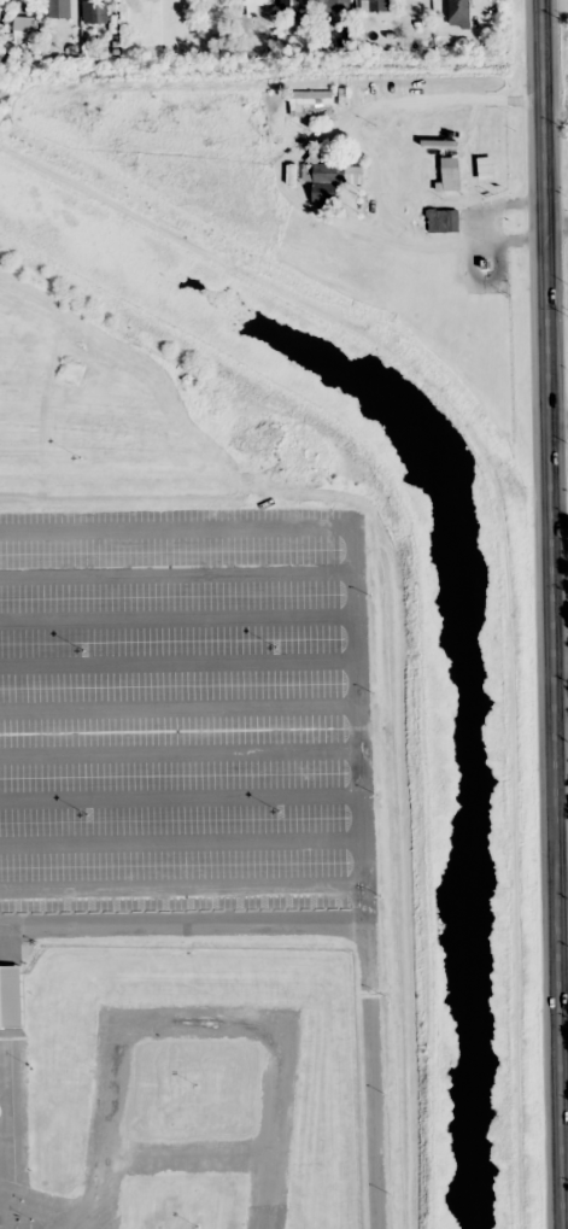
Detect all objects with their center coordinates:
building: (260, 4)
building: (334, 4)
building: (297, 5)
building: (375, 5)
building: (95, 11)
building: (459, 12)
building: (22, 28)
building: (311, 103)
building: (338, 172)
building: (443, 220)
road: (558, 221)
road: (561, 419)
river: (461, 580)
road: (556, 614)
road: (563, 851)
road: (339, 924)

